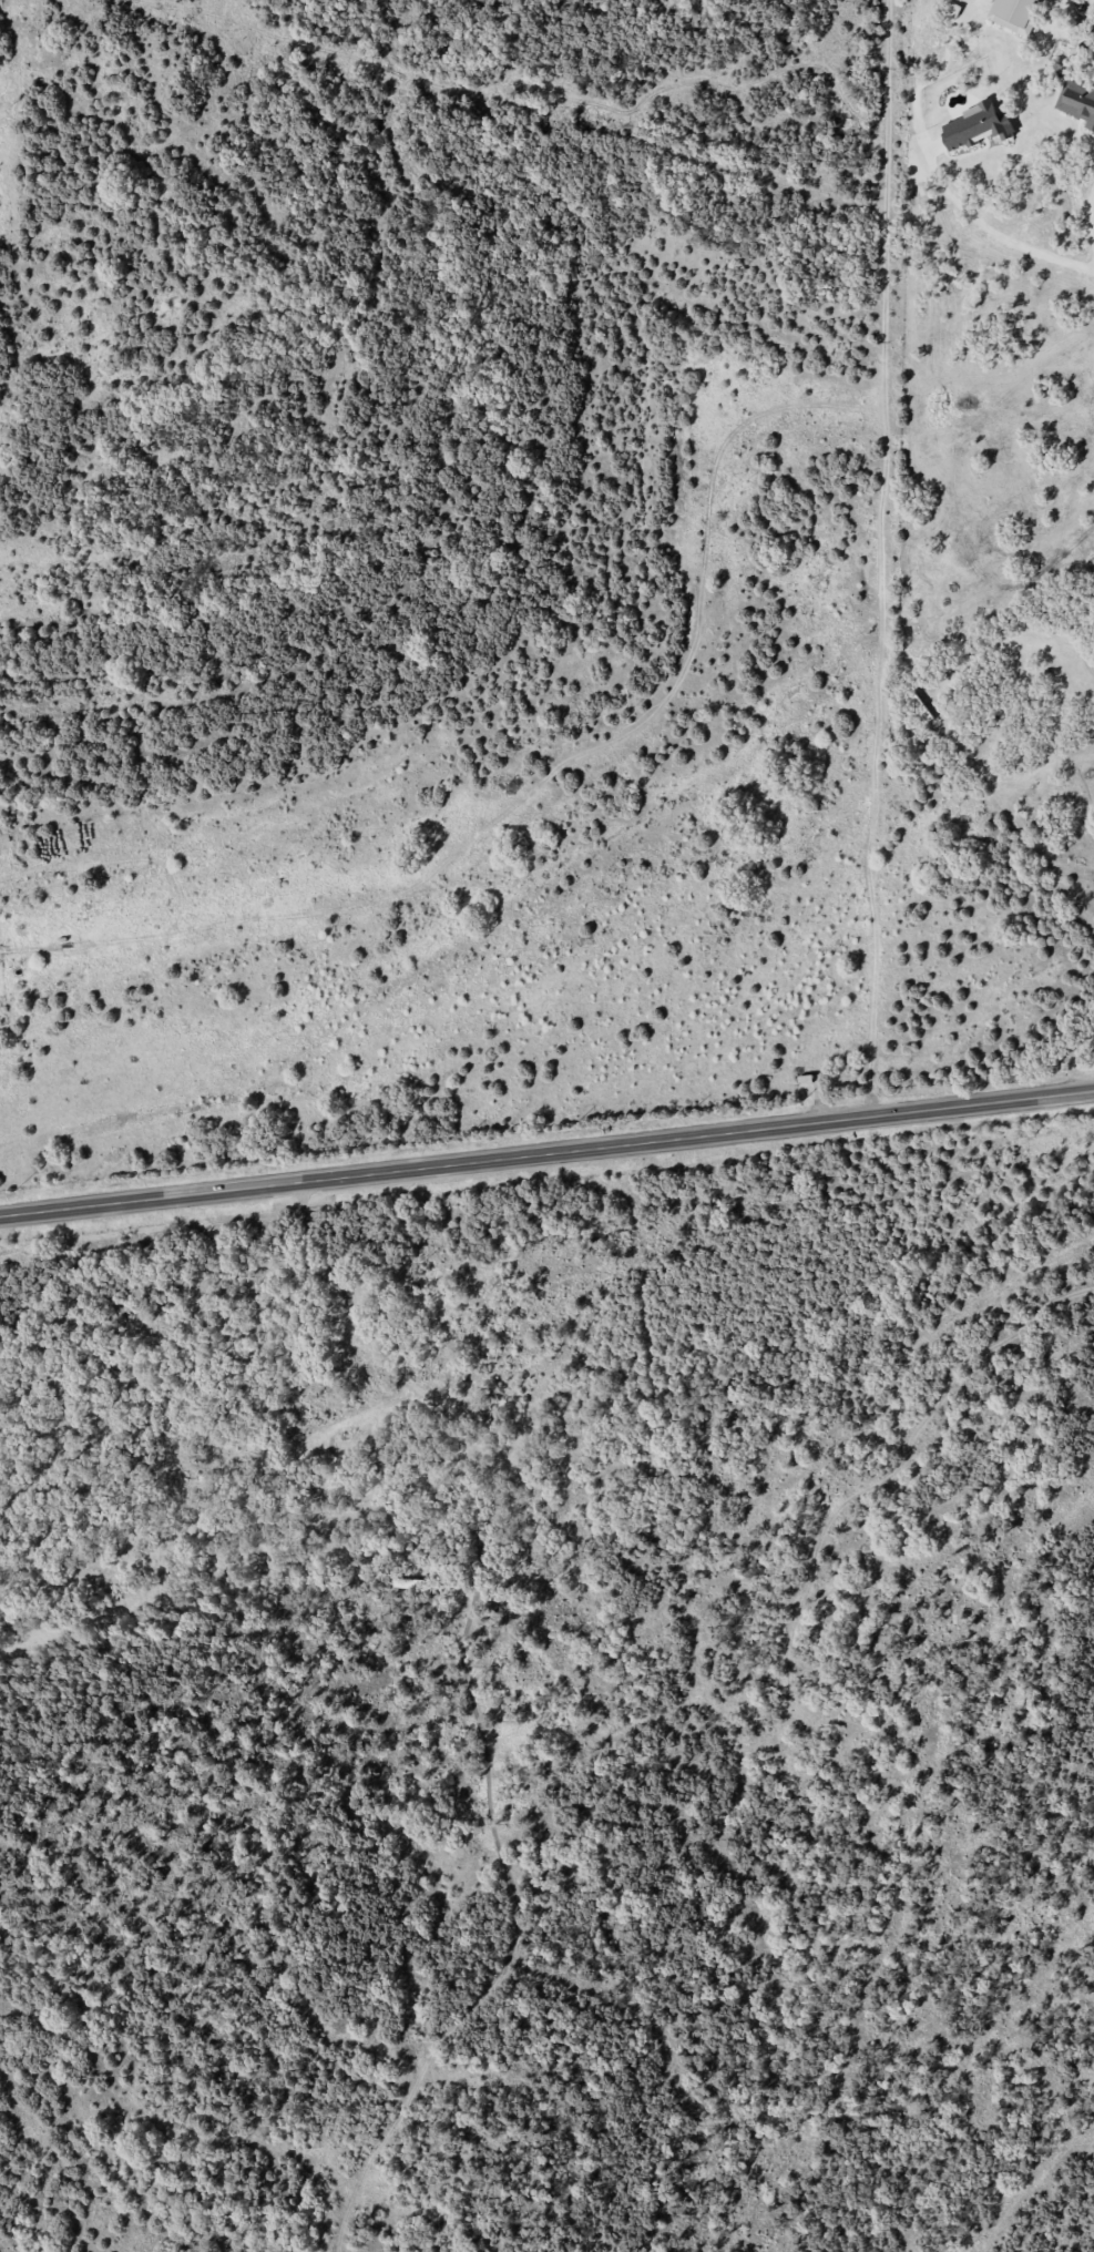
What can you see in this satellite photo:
building: (1014, 13)
building: (1077, 101)
building: (975, 126)
road: (1092, 213)
road: (990, 230)
road: (1092, 565)
road: (546, 1154)
building: (411, 1291)

